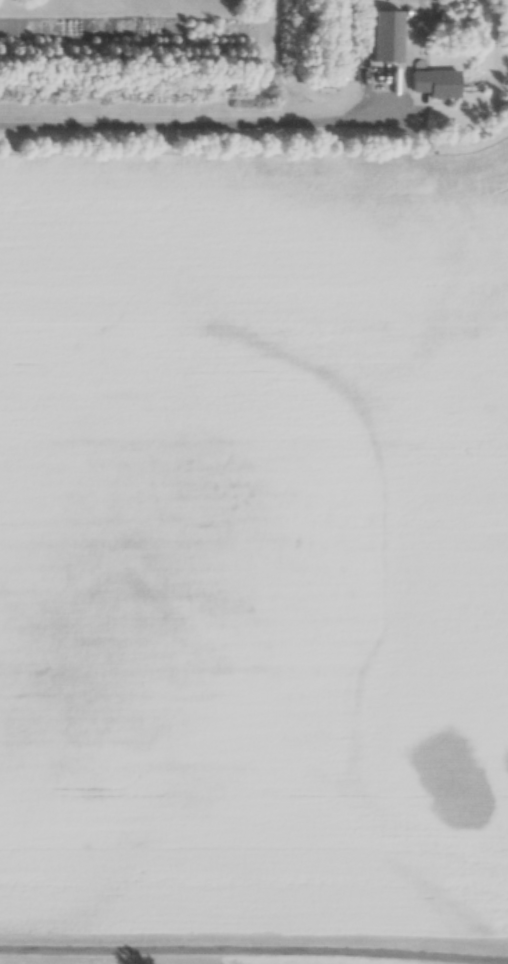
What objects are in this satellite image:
building: (384, 34)
building: (433, 82)
road: (199, 125)
road: (254, 938)

